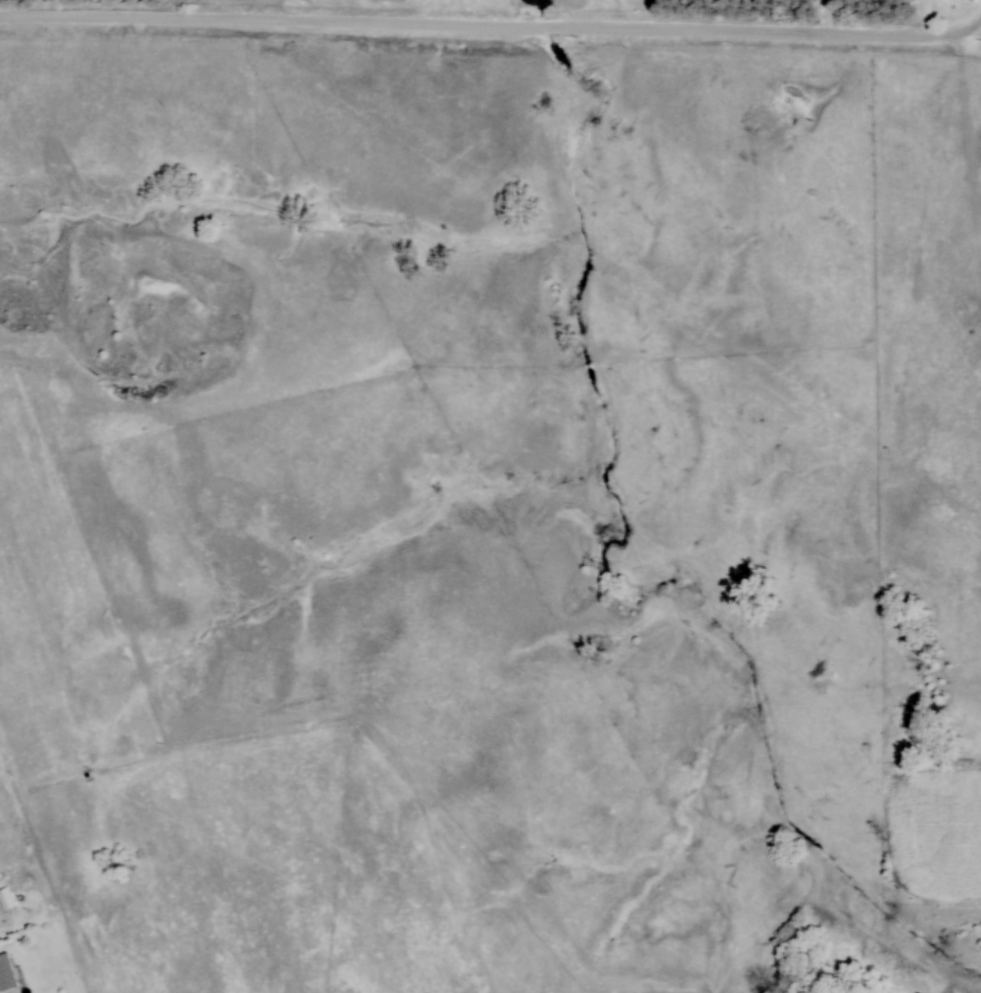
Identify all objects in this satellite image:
road: (465, 26)
road: (957, 33)
building: (7, 899)
building: (7, 975)

